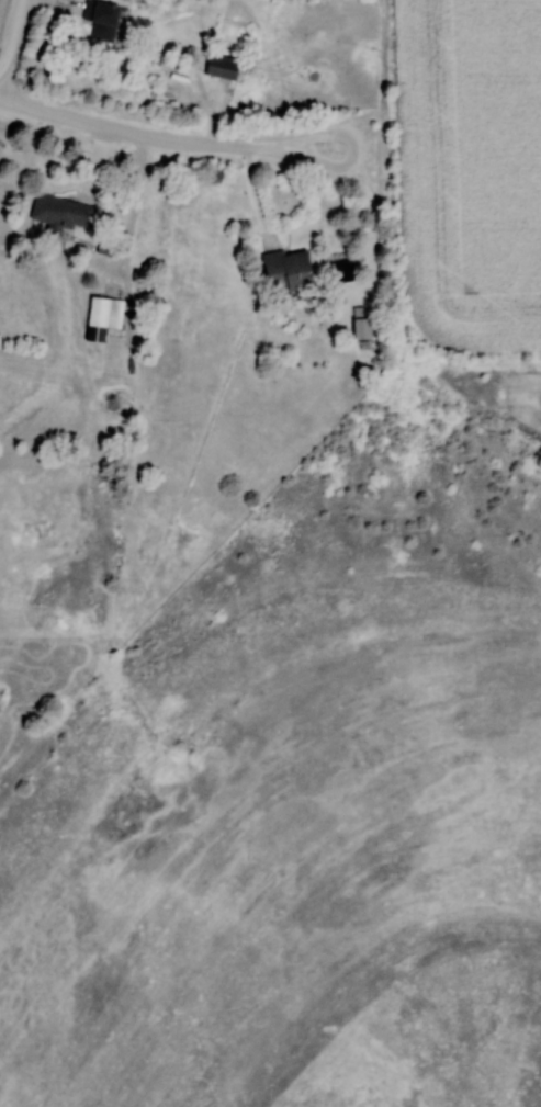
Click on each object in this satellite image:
building: (100, 19)
road: (11, 41)
building: (221, 66)
road: (164, 142)
road: (139, 197)
building: (60, 213)
building: (284, 270)
building: (340, 270)
building: (103, 313)
building: (359, 326)

